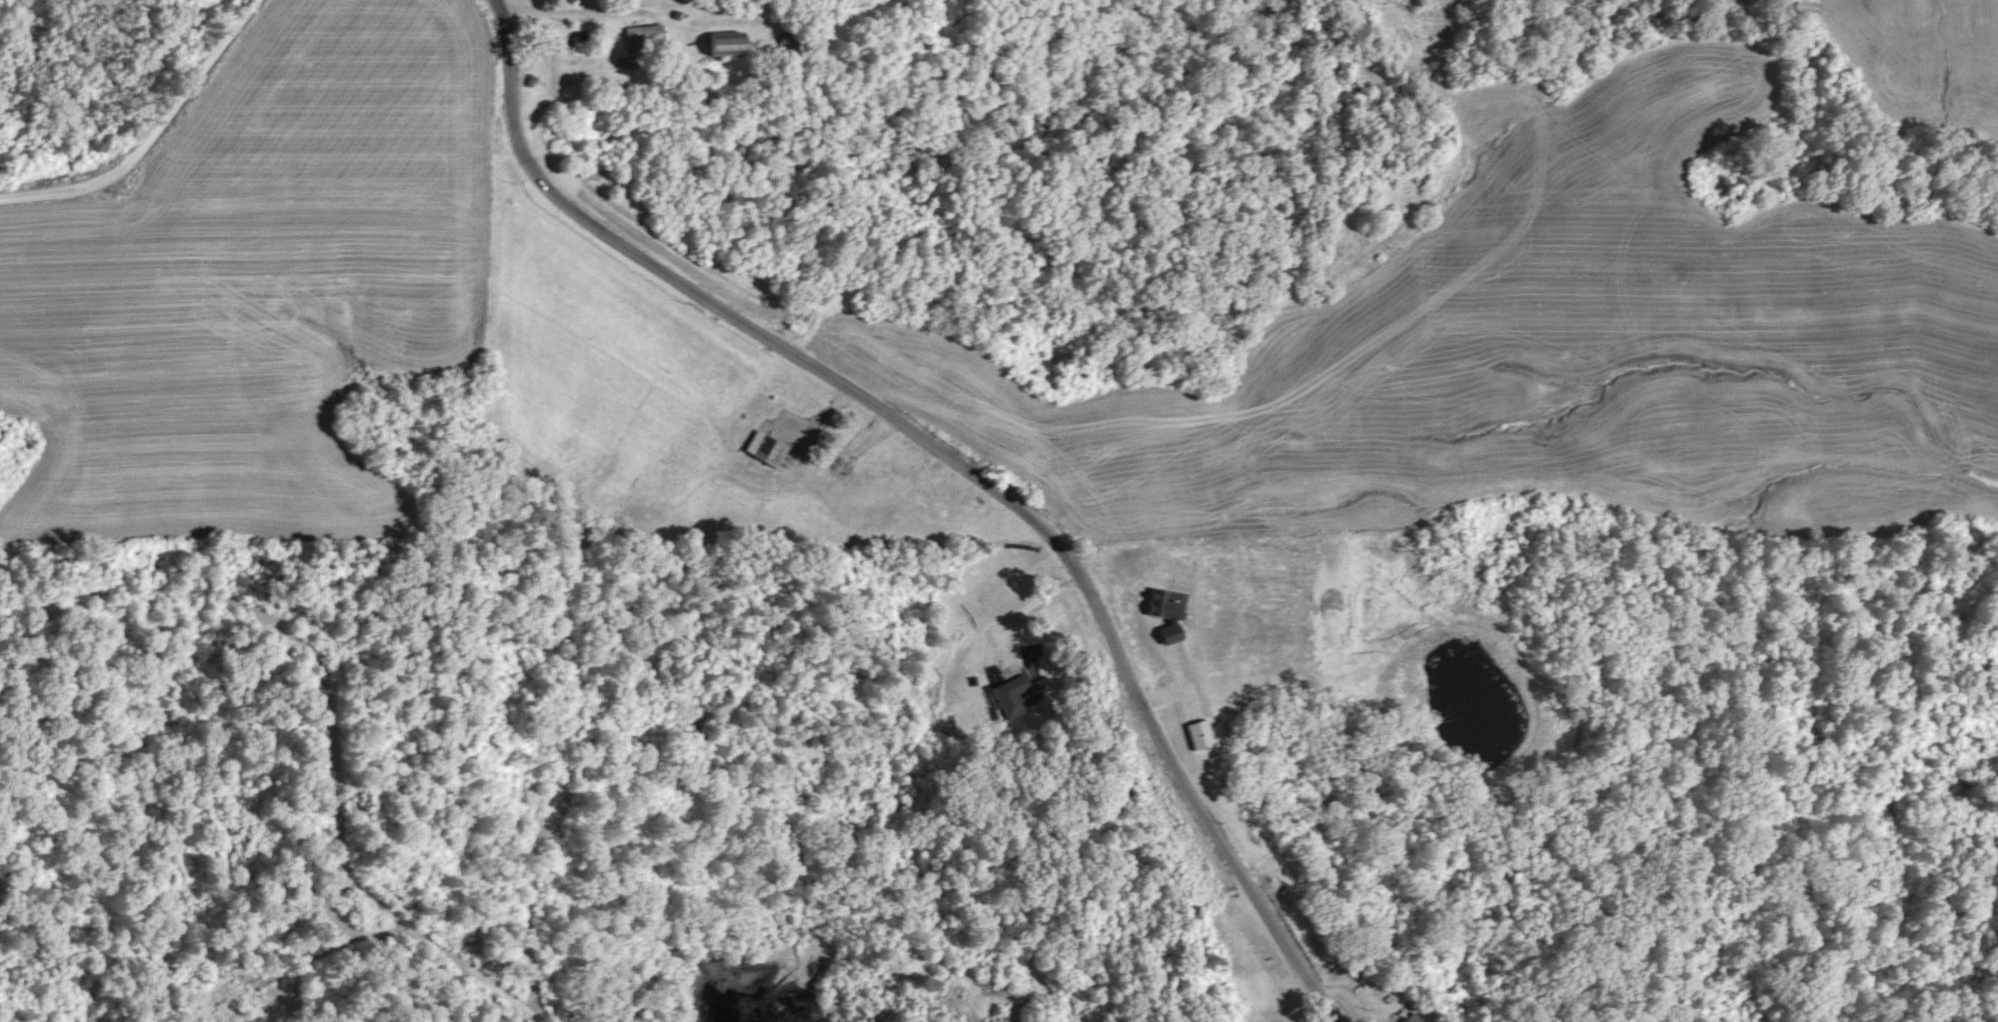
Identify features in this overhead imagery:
building: (642, 36)
building: (789, 42)
building: (724, 43)
road: (150, 134)
building: (764, 449)
road: (956, 457)
building: (1009, 696)
road: (351, 888)
road: (472, 975)
building: (1410, 1018)
road: (1334, 1020)
building: (216, 1021)

